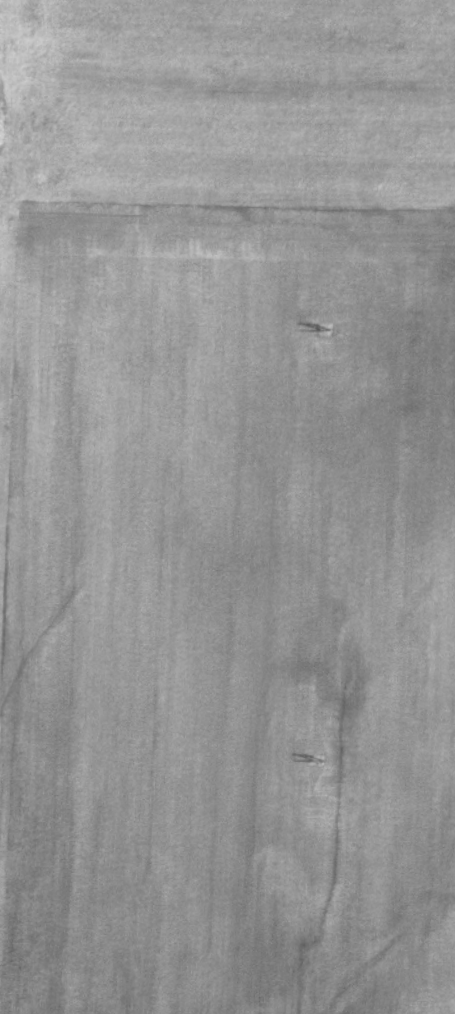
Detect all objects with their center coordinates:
power tower: (322, 326)
power tower: (315, 761)

